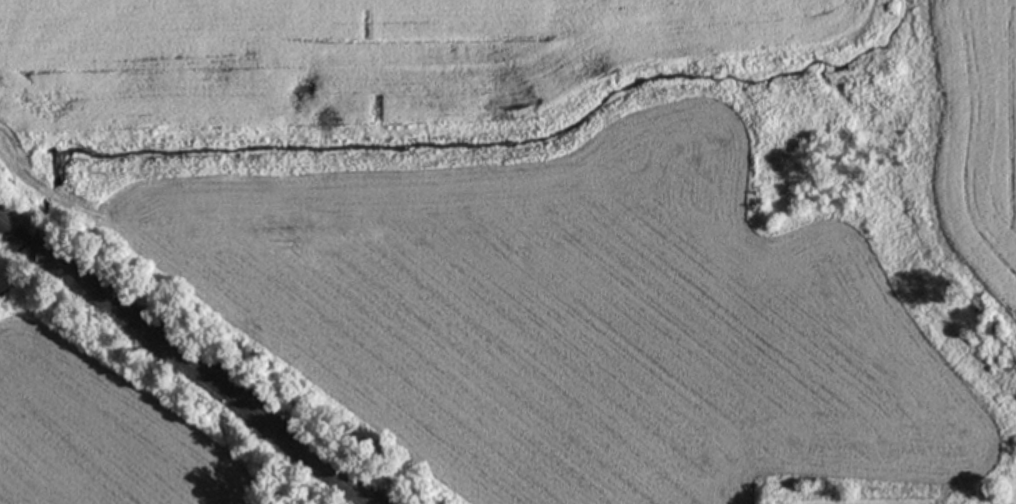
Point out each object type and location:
railway: (190, 360)

